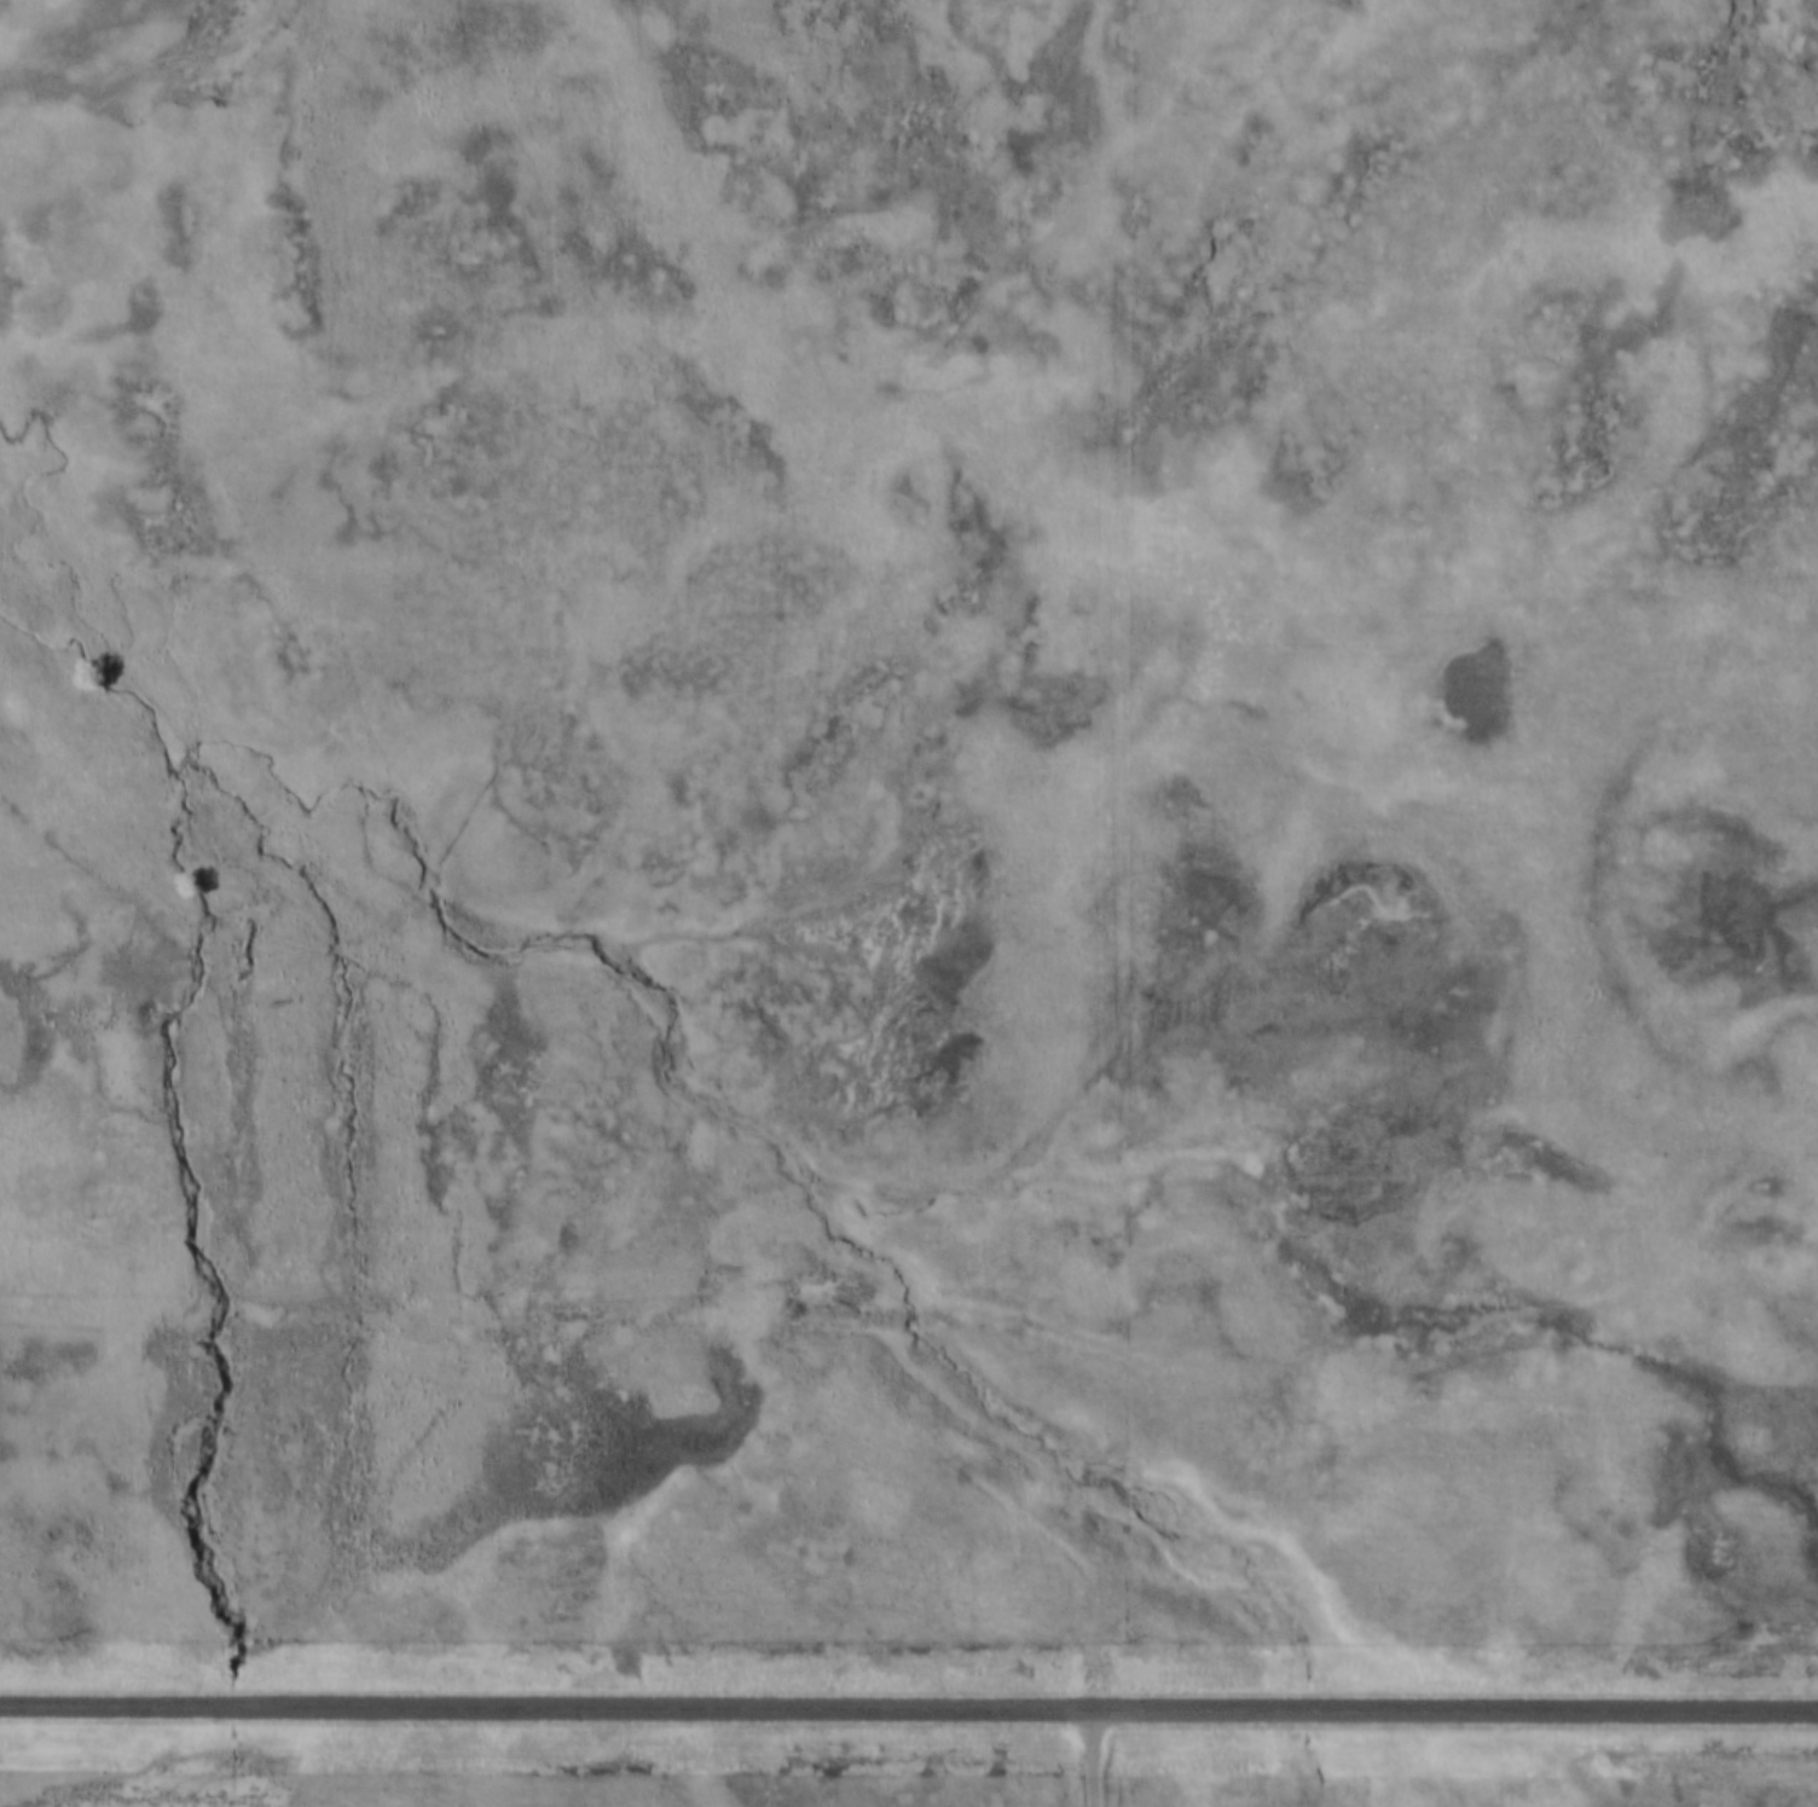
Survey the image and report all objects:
road: (908, 1712)
road: (1096, 1759)

